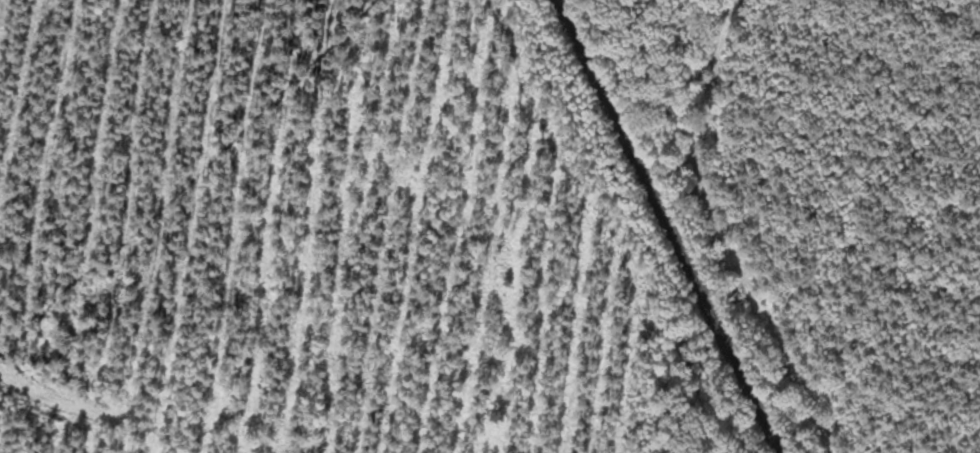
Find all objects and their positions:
railway: (669, 226)

